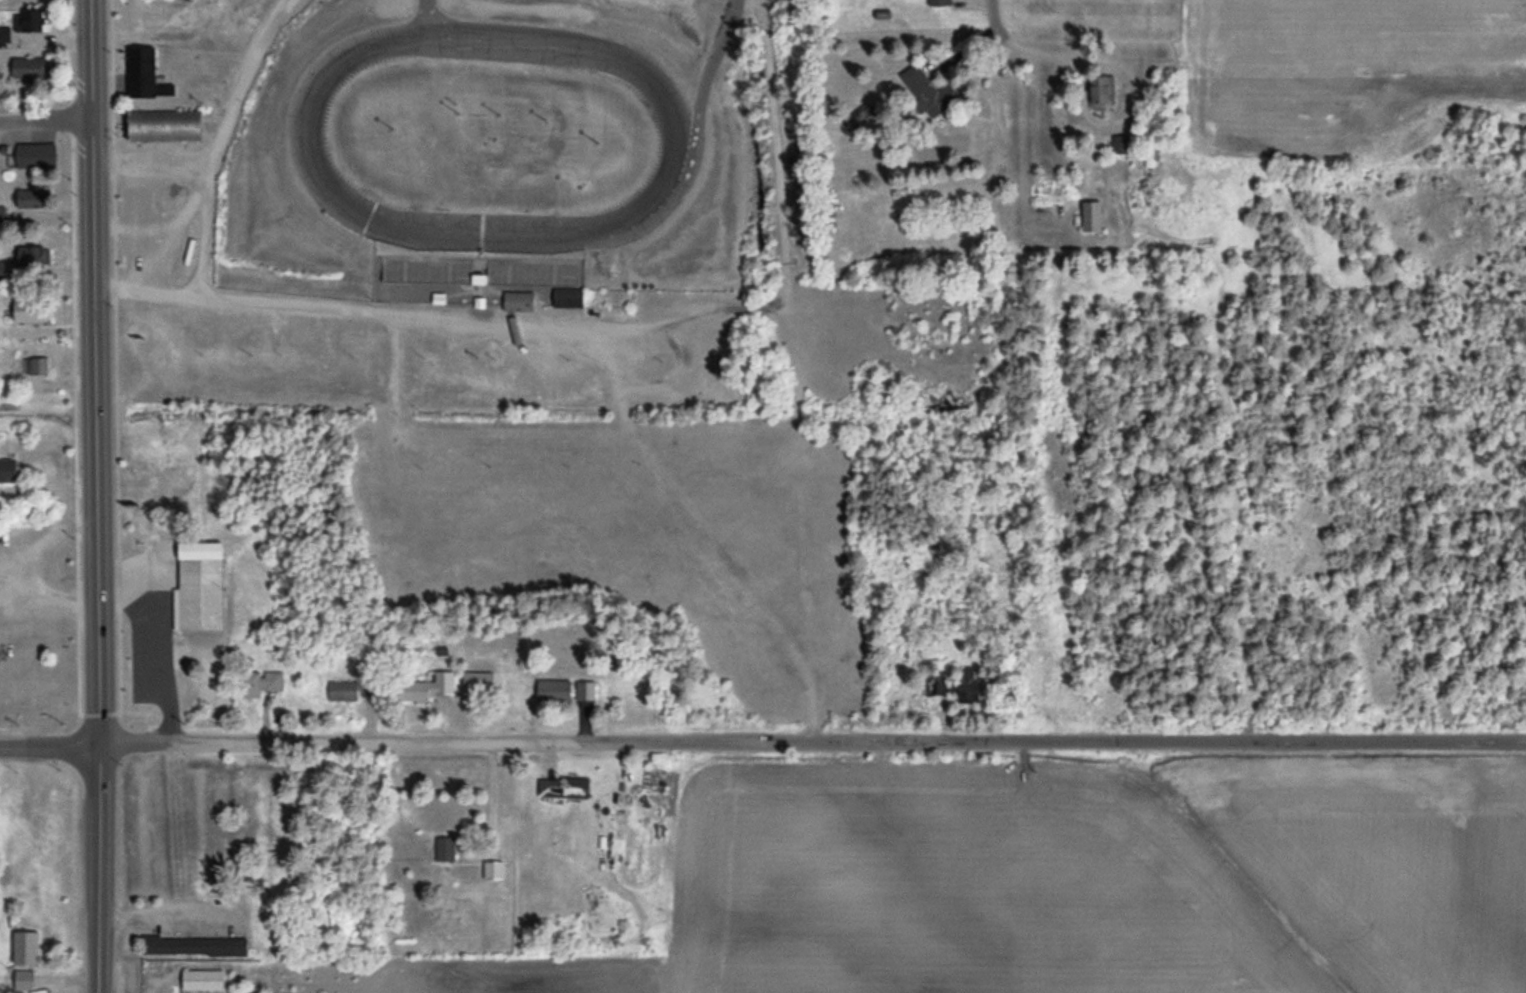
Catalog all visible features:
building: (940, 3)
road: (427, 12)
building: (41, 20)
road: (994, 24)
raceway: (563, 30)
building: (30, 69)
building: (143, 73)
road: (703, 83)
building: (921, 85)
building: (1104, 90)
road: (47, 120)
building: (170, 125)
road: (220, 141)
building: (38, 155)
building: (3, 215)
building: (146, 234)
building: (30, 256)
building: (429, 272)
building: (540, 280)
building: (520, 301)
building: (33, 312)
road: (363, 314)
building: (45, 366)
road: (96, 372)
building: (204, 593)
building: (272, 679)
building: (481, 684)
building: (431, 687)
building: (356, 688)
building: (954, 688)
building: (567, 690)
road: (813, 742)
road: (50, 745)
building: (564, 787)
building: (446, 848)
road: (98, 869)
building: (494, 869)
building: (197, 946)
building: (29, 967)
building: (203, 980)

